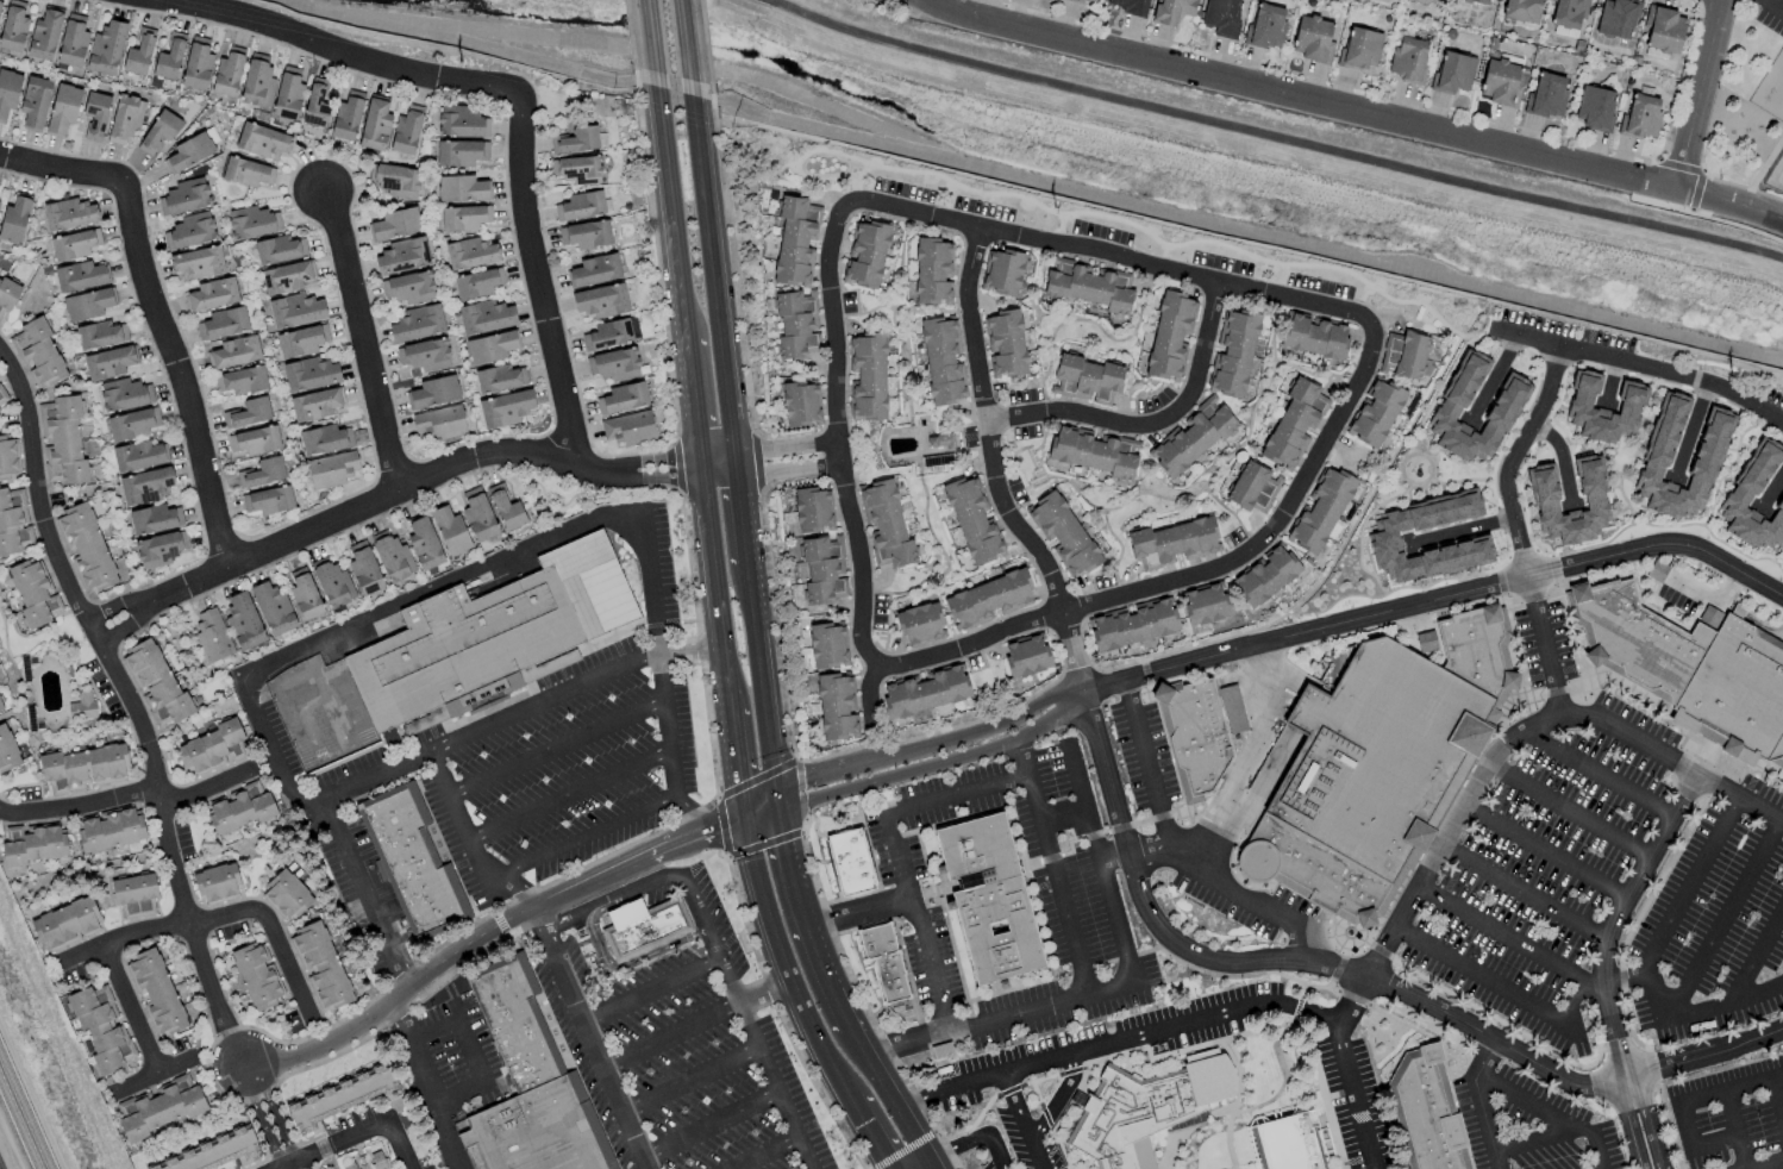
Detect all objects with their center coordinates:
building: (1087, 1)
building: (1479, 1)
building: (0, 2)
road: (1775, 5)
building: (1131, 6)
building: (1521, 10)
building: (1172, 11)
building: (1569, 13)
parking lot: (1771, 14)
building: (1221, 17)
building: (1616, 18)
building: (13, 27)
building: (1265, 27)
building: (1663, 30)
building: (44, 35)
building: (1313, 39)
building: (73, 42)
road: (649, 43)
building: (106, 49)
building: (1360, 49)
road: (693, 50)
building: (139, 54)
power tower: (459, 55)
building: (169, 57)
building: (1408, 60)
building: (196, 64)
building: (227, 73)
building: (1452, 73)
building: (1502, 82)
building: (257, 85)
building: (8, 92)
road: (1701, 93)
building: (288, 94)
building: (1546, 96)
building: (35, 102)
building: (315, 104)
park: (1750, 104)
road: (521, 108)
building: (1594, 108)
building: (63, 110)
road: (1358, 110)
building: (95, 115)
building: (348, 115)
building: (1640, 115)
building: (125, 119)
building: (461, 121)
building: (375, 125)
road: (1294, 129)
building: (406, 131)
building: (159, 132)
building: (576, 139)
building: (192, 150)
building: (461, 152)
road: (1681, 167)
building: (577, 169)
road: (1762, 171)
building: (246, 173)
park: (1776, 177)
road: (824, 179)
building: (393, 181)
road: (857, 183)
building: (461, 188)
road: (1697, 190)
building: (184, 196)
road: (669, 200)
power tower: (1052, 200)
road: (950, 201)
building: (0, 202)
building: (580, 206)
road: (1691, 211)
building: (69, 214)
road: (1708, 217)
building: (464, 218)
building: (14, 220)
building: (252, 223)
building: (394, 224)
road: (1132, 225)
building: (190, 230)
building: (586, 235)
building: (795, 240)
building: (75, 244)
building: (279, 249)
building: (470, 254)
building: (865, 255)
building: (402, 256)
road: (1109, 258)
road: (1165, 258)
building: (198, 262)
building: (594, 270)
building: (932, 271)
building: (1001, 271)
building: (80, 276)
building: (284, 277)
road: (717, 281)
road: (1283, 281)
building: (477, 283)
building: (1088, 286)
building: (408, 288)
building: (212, 294)
building: (6, 296)
road: (1363, 300)
building: (601, 301)
building: (87, 305)
building: (295, 311)
road: (155, 315)
building: (486, 317)
road: (1087, 321)
building: (223, 324)
building: (417, 324)
building: (796, 324)
road: (684, 327)
building: (100, 335)
building: (607, 335)
road: (902, 335)
building: (1170, 336)
building: (1315, 337)
building: (301, 340)
road: (358, 342)
building: (1005, 343)
building: (490, 348)
building: (38, 352)
building: (234, 352)
building: (1233, 352)
building: (424, 355)
building: (1406, 356)
building: (943, 361)
building: (108, 363)
building: (614, 364)
road: (1288, 364)
road: (1731, 364)
power tower: (1729, 365)
road: (1643, 367)
building: (309, 374)
building: (867, 376)
building: (499, 379)
road: (1694, 379)
building: (1087, 380)
building: (242, 381)
road: (1495, 381)
road: (1012, 389)
road: (1693, 389)
building: (433, 393)
building: (124, 394)
road: (1702, 395)
building: (2, 396)
building: (623, 398)
building: (1453, 402)
road: (694, 404)
building: (801, 404)
building: (315, 405)
building: (1578, 407)
building: (505, 408)
building: (248, 413)
building: (1376, 413)
building: (438, 423)
building: (132, 424)
road: (1151, 424)
building: (1294, 424)
building: (627, 429)
road: (1694, 430)
road: (1043, 433)
road: (836, 436)
building: (1190, 438)
building: (324, 439)
building: (62, 440)
building: (255, 440)
building: (1708, 448)
building: (1094, 451)
building: (137, 456)
road: (659, 457)
road: (786, 457)
building: (7, 458)
road: (1513, 458)
road: (1224, 461)
road: (1563, 463)
road: (719, 465)
building: (331, 469)
road: (991, 470)
building: (262, 473)
road: (659, 479)
building: (146, 486)
building: (1253, 488)
building: (1543, 488)
road: (1078, 492)
road: (1772, 498)
building: (269, 500)
road: (375, 500)
building: (1738, 501)
building: (506, 508)
road: (1112, 508)
building: (813, 510)
building: (1320, 510)
road: (742, 512)
building: (477, 515)
building: (155, 519)
building: (14, 521)
building: (974, 521)
building: (886, 524)
building: (450, 531)
building: (1062, 533)
road: (1463, 533)
building: (1172, 543)
building: (424, 544)
building: (1468, 545)
building: (85, 546)
building: (159, 549)
road: (943, 549)
building: (392, 556)
building: (364, 569)
building: (824, 570)
road: (1190, 576)
building: (332, 582)
road: (717, 589)
building: (33, 593)
building: (305, 595)
building: (988, 600)
road: (1713, 600)
road: (1434, 601)
building: (1205, 604)
road: (114, 605)
building: (274, 608)
road: (392, 611)
road: (887, 617)
building: (243, 621)
building: (920, 624)
building: (1133, 624)
road: (125, 625)
building: (212, 634)
building: (827, 645)
road: (1543, 649)
building: (464, 651)
building: (1479, 652)
building: (1026, 656)
building: (1691, 669)
road: (764, 681)
building: (156, 683)
building: (1022, 683)
building: (926, 692)
road: (870, 698)
road: (133, 705)
building: (1232, 706)
building: (82, 707)
building: (836, 707)
road: (525, 712)
building: (1201, 738)
road: (926, 745)
road: (558, 748)
building: (212, 749)
building: (7, 751)
building: (1383, 759)
road: (740, 762)
road: (933, 764)
building: (83, 768)
road: (1597, 774)
road: (1235, 777)
road: (208, 787)
road: (955, 793)
road: (571, 796)
road: (77, 805)
road: (762, 807)
building: (239, 808)
road: (1571, 809)
road: (1062, 813)
road: (1460, 814)
road: (684, 817)
road: (720, 825)
building: (111, 830)
road: (470, 837)
road: (582, 838)
building: (33, 844)
road: (1172, 850)
road: (1546, 851)
building: (415, 863)
building: (857, 863)
road: (1050, 865)
parking lot: (1596, 874)
building: (1318, 875)
building: (217, 883)
road: (1525, 890)
building: (134, 895)
building: (286, 895)
road: (1146, 895)
building: (994, 899)
road: (859, 914)
road: (802, 915)
road: (1725, 915)
road: (918, 920)
building: (67, 924)
building: (645, 929)
road: (273, 933)
road: (121, 937)
road: (1508, 938)
road: (463, 948)
road: (1759, 952)
road: (714, 954)
road: (788, 959)
building: (888, 961)
road: (1645, 961)
road: (1602, 964)
building: (320, 965)
road: (620, 968)
building: (257, 977)
road: (1625, 980)
road: (1622, 981)
road: (1109, 984)
road: (1308, 986)
road: (1499, 988)
building: (155, 992)
road: (767, 993)
road: (650, 994)
road: (777, 1004)
road: (131, 1009)
road: (1474, 1009)
building: (101, 1030)
road: (321, 1036)
road: (669, 1037)
road: (588, 1039)
road: (1114, 1043)
road: (473, 1054)
road: (1163, 1056)
road: (1125, 1064)
road: (1152, 1068)
road: (1546, 1073)
road: (155, 1075)
road: (1238, 1075)
road: (689, 1081)
road: (426, 1084)
building: (532, 1089)
road: (1729, 1089)
road: (887, 1094)
building: (338, 1099)
road: (1777, 1099)
road: (1058, 1101)
road: (1265, 1102)
road: (1478, 1102)
building: (1145, 1106)
building: (159, 1107)
road: (273, 1111)
building: (1425, 1112)
road: (1550, 1112)
railway: (24, 1113)
road: (1062, 1117)
road: (259, 1118)
road: (383, 1118)
road: (1022, 1120)
railway: (19, 1125)
road: (1188, 1126)
road: (708, 1127)
road: (1684, 1127)
road: (1738, 1129)
road: (874, 1132)
road: (971, 1140)
building: (1293, 1143)
road: (1541, 1143)
road: (1716, 1145)
building: (213, 1154)
road: (765, 1154)
road: (304, 1156)
building: (382, 1159)
road: (1769, 1163)
road: (1089, 1164)
building: (352, 1165)
road: (286, 1167)
road: (922, 1167)
road: (926, 1167)

